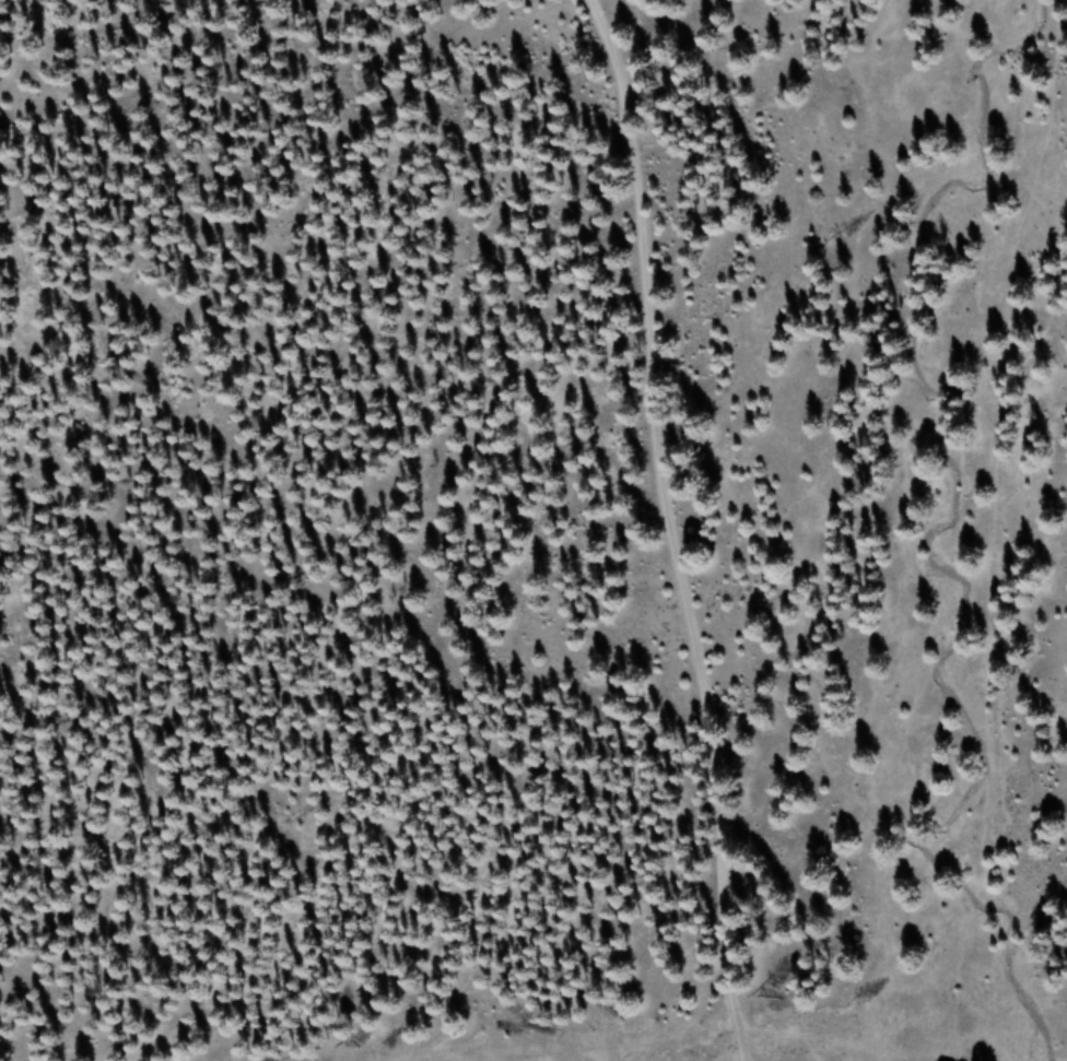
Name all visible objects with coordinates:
road: (670, 529)

